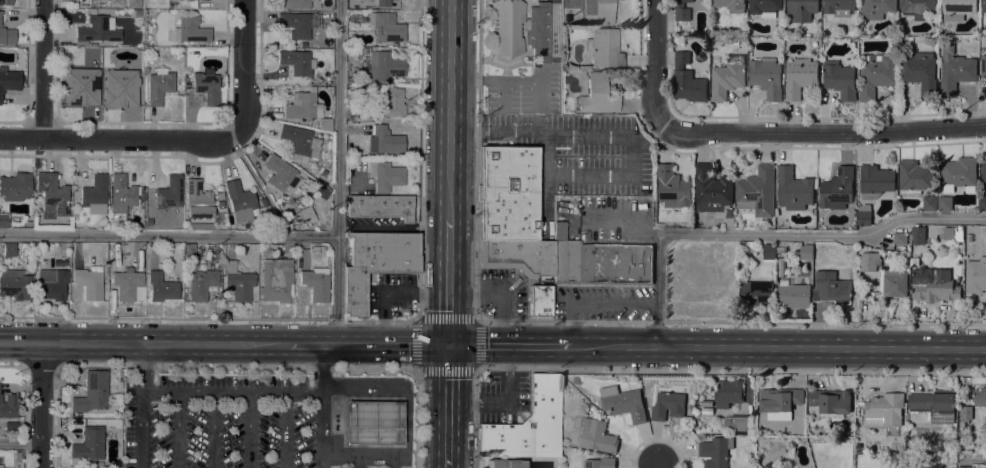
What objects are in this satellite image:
building: (105, 0)
building: (6, 2)
building: (133, 3)
building: (382, 3)
building: (186, 4)
building: (294, 4)
building: (624, 5)
building: (731, 5)
building: (983, 6)
building: (765, 7)
building: (839, 7)
building: (877, 8)
building: (918, 8)
building: (802, 9)
building: (957, 9)
building: (601, 10)
building: (682, 10)
building: (137, 13)
building: (299, 24)
building: (386, 27)
building: (507, 27)
building: (96, 30)
building: (192, 30)
building: (543, 31)
building: (7, 36)
building: (736, 41)
building: (983, 41)
building: (303, 45)
building: (604, 48)
building: (356, 50)
building: (296, 62)
road: (658, 64)
building: (983, 66)
building: (384, 67)
road: (43, 70)
building: (145, 71)
building: (955, 71)
building: (920, 72)
building: (729, 74)
building: (876, 75)
building: (766, 77)
building: (800, 77)
building: (840, 79)
building: (98, 80)
building: (688, 80)
building: (9, 81)
building: (123, 86)
building: (159, 86)
building: (206, 86)
building: (81, 87)
building: (98, 87)
building: (593, 94)
building: (389, 105)
building: (302, 107)
road: (449, 110)
building: (325, 125)
road: (823, 135)
road: (188, 140)
building: (300, 141)
building: (385, 141)
building: (984, 170)
building: (959, 172)
building: (323, 173)
road: (337, 173)
building: (654, 173)
building: (281, 175)
building: (386, 177)
building: (914, 177)
building: (875, 181)
building: (15, 187)
building: (673, 188)
building: (711, 189)
building: (793, 189)
building: (837, 189)
building: (757, 191)
building: (169, 192)
building: (320, 192)
building: (122, 194)
building: (508, 194)
building: (52, 195)
building: (94, 195)
building: (220, 197)
building: (197, 200)
building: (239, 201)
building: (930, 203)
building: (945, 203)
building: (981, 203)
building: (220, 205)
building: (380, 207)
building: (306, 214)
building: (864, 215)
building: (729, 218)
building: (3, 221)
building: (29, 224)
building: (559, 231)
building: (949, 233)
building: (917, 235)
road: (769, 236)
road: (168, 237)
building: (969, 237)
building: (900, 238)
building: (318, 249)
building: (9, 251)
building: (266, 251)
building: (769, 251)
building: (805, 251)
building: (530, 254)
building: (891, 257)
building: (375, 264)
building: (602, 264)
building: (781, 267)
building: (870, 268)
building: (976, 275)
building: (275, 280)
building: (238, 282)
building: (315, 283)
road: (448, 283)
building: (895, 283)
building: (52, 284)
building: (88, 284)
building: (14, 285)
building: (126, 285)
building: (201, 285)
building: (934, 285)
building: (161, 287)
building: (831, 287)
building: (757, 293)
road: (389, 294)
building: (793, 294)
building: (227, 297)
road: (497, 298)
building: (540, 301)
road: (476, 320)
road: (369, 321)
road: (570, 321)
road: (144, 343)
road: (367, 346)
traffic signals: (447, 346)
road: (716, 347)
road: (12, 365)
road: (40, 366)
road: (236, 366)
road: (681, 371)
building: (575, 380)
building: (91, 393)
road: (282, 393)
building: (728, 393)
building: (980, 397)
building: (779, 402)
building: (831, 402)
building: (622, 403)
building: (705, 403)
building: (668, 404)
road: (41, 405)
road: (139, 405)
building: (934, 405)
building: (8, 406)
road: (315, 406)
road: (447, 407)
building: (884, 410)
building: (707, 411)
building: (966, 412)
building: (694, 413)
building: (76, 415)
building: (373, 423)
gas station: (373, 423)
building: (113, 424)
building: (739, 424)
parking lot: (226, 425)
building: (528, 425)
building: (7, 427)
road: (177, 430)
road: (214, 430)
road: (249, 430)
road: (285, 430)
building: (596, 436)
road: (20, 443)
building: (89, 445)
building: (715, 452)
road: (973, 458)
building: (600, 463)
building: (505, 464)
building: (0, 466)
road: (656, 467)
building: (964, 467)

